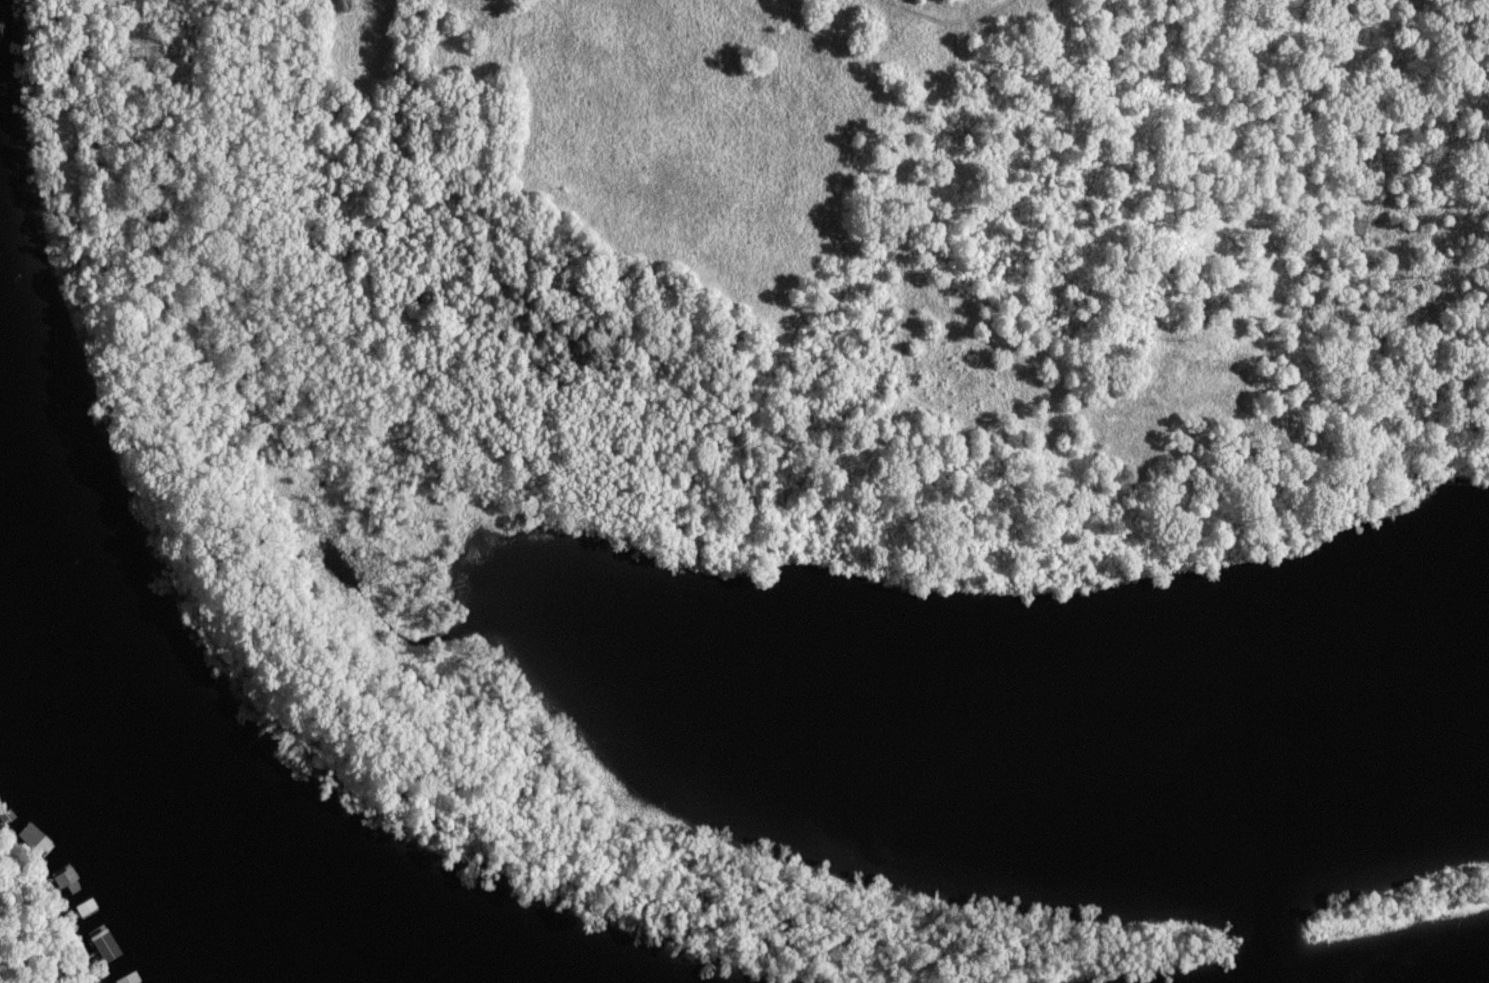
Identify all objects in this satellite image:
river: (155, 818)
building: (33, 836)
building: (69, 887)
building: (88, 909)
building: (108, 947)
building: (131, 979)

